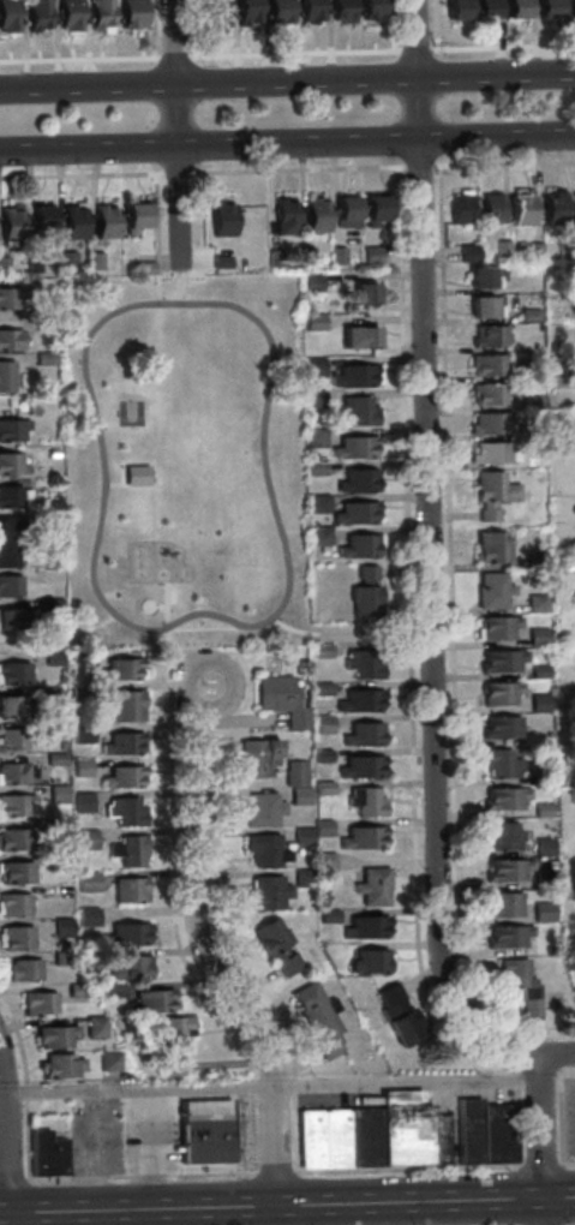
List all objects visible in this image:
building: (514, 8)
building: (546, 8)
building: (570, 8)
building: (309, 10)
building: (370, 10)
building: (455, 10)
building: (484, 10)
building: (244, 11)
building: (276, 11)
building: (341, 11)
building: (212, 12)
building: (98, 13)
building: (130, 13)
building: (35, 14)
building: (67, 14)
building: (7, 16)
road: (393, 30)
road: (436, 31)
road: (151, 32)
road: (193, 34)
road: (501, 49)
road: (414, 53)
road: (294, 56)
road: (173, 59)
road: (79, 61)
road: (193, 76)
road: (287, 80)
road: (432, 108)
road: (400, 109)
road: (158, 115)
road: (173, 135)
road: (287, 142)
road: (502, 163)
road: (417, 166)
road: (294, 168)
road: (174, 172)
road: (80, 174)
building: (574, 208)
building: (457, 209)
building: (490, 209)
building: (520, 209)
building: (551, 209)
building: (372, 210)
road: (152, 211)
building: (343, 213)
building: (315, 215)
building: (132, 217)
building: (282, 217)
building: (220, 219)
building: (40, 220)
building: (103, 222)
building: (71, 223)
building: (8, 225)
building: (501, 249)
building: (563, 250)
building: (466, 253)
building: (532, 253)
building: (335, 255)
building: (370, 255)
building: (304, 256)
building: (271, 258)
road: (163, 259)
building: (94, 261)
building: (64, 262)
building: (220, 262)
building: (31, 264)
building: (2, 267)
building: (143, 268)
building: (481, 279)
building: (310, 282)
building: (363, 294)
building: (7, 298)
building: (483, 307)
building: (573, 307)
building: (527, 315)
building: (43, 321)
building: (312, 322)
building: (487, 336)
building: (358, 339)
building: (8, 340)
building: (43, 358)
building: (486, 365)
building: (312, 366)
building: (531, 370)
building: (556, 371)
building: (4, 377)
building: (353, 377)
building: (487, 394)
building: (313, 399)
building: (529, 401)
building: (357, 411)
building: (489, 424)
building: (11, 430)
building: (313, 438)
building: (352, 448)
building: (52, 453)
building: (489, 453)
building: (11, 465)
park: (186, 468)
building: (315, 470)
building: (355, 482)
building: (490, 494)
building: (12, 497)
building: (316, 504)
building: (53, 506)
building: (352, 514)
building: (317, 536)
building: (7, 540)
building: (491, 545)
building: (357, 548)
road: (426, 554)
building: (533, 560)
building: (49, 576)
building: (537, 579)
building: (8, 586)
building: (490, 591)
building: (364, 593)
building: (534, 603)
building: (48, 606)
road: (164, 617)
building: (14, 619)
building: (495, 628)
road: (448, 632)
road: (359, 633)
building: (535, 637)
building: (558, 637)
road: (34, 640)
building: (321, 651)
building: (79, 658)
building: (53, 659)
building: (498, 661)
building: (361, 665)
building: (120, 669)
building: (538, 673)
building: (13, 674)
road: (408, 687)
building: (319, 689)
building: (79, 691)
building: (47, 693)
building: (497, 694)
building: (280, 700)
building: (358, 703)
building: (537, 703)
building: (122, 706)
building: (562, 706)
building: (11, 707)
road: (211, 721)
building: (322, 724)
building: (52, 725)
building: (498, 728)
building: (80, 734)
building: (361, 736)
building: (12, 741)
building: (120, 745)
building: (321, 755)
building: (54, 758)
building: (254, 758)
building: (498, 763)
building: (80, 766)
building: (359, 767)
building: (12, 773)
building: (294, 773)
building: (121, 777)
building: (538, 777)
building: (557, 782)
building: (322, 788)
building: (56, 793)
building: (571, 795)
building: (298, 796)
building: (502, 799)
building: (82, 802)
building: (365, 802)
building: (13, 806)
building: (540, 809)
building: (260, 811)
building: (124, 812)
building: (56, 826)
building: (321, 827)
building: (499, 836)
building: (303, 837)
building: (85, 838)
building: (360, 838)
building: (13, 841)
building: (544, 847)
building: (264, 850)
building: (130, 851)
building: (56, 861)
building: (324, 861)
building: (504, 871)
building: (14, 874)
building: (300, 878)
building: (541, 879)
building: (85, 883)
building: (371, 888)
building: (128, 890)
building: (569, 891)
building: (265, 895)
building: (13, 906)
building: (501, 906)
building: (541, 912)
building: (327, 916)
building: (86, 918)
road: (173, 926)
building: (61, 927)
building: (365, 928)
building: (568, 928)
building: (127, 934)
building: (505, 937)
building: (14, 938)
building: (274, 946)
building: (60, 958)
road: (228, 958)
road: (205, 962)
building: (367, 963)
building: (568, 963)
building: (128, 968)
building: (23, 970)
building: (517, 984)
building: (76, 991)
building: (109, 992)
building: (574, 992)
building: (149, 1002)
building: (38, 1004)
building: (402, 1016)
building: (322, 1018)
building: (101, 1028)
building: (61, 1036)
road: (567, 1036)
building: (181, 1042)
road: (569, 1053)
road: (557, 1054)
building: (115, 1060)
building: (67, 1065)
road: (523, 1068)
road: (573, 1070)
road: (543, 1071)
road: (563, 1075)
road: (275, 1086)
road: (30, 1087)
road: (5, 1094)
road: (565, 1115)
building: (411, 1127)
building: (475, 1130)
road: (10, 1131)
building: (211, 1131)
building: (503, 1134)
building: (371, 1136)
building: (318, 1137)
building: (342, 1137)
building: (445, 1137)
road: (545, 1139)
road: (157, 1148)
road: (97, 1149)
building: (53, 1154)
road: (5, 1157)
road: (569, 1164)
road: (546, 1165)
road: (414, 1167)
road: (281, 1172)
road: (145, 1176)
road: (14, 1181)
road: (561, 1197)
road: (274, 1206)
road: (463, 1212)
road: (331, 1214)
road: (186, 1217)

